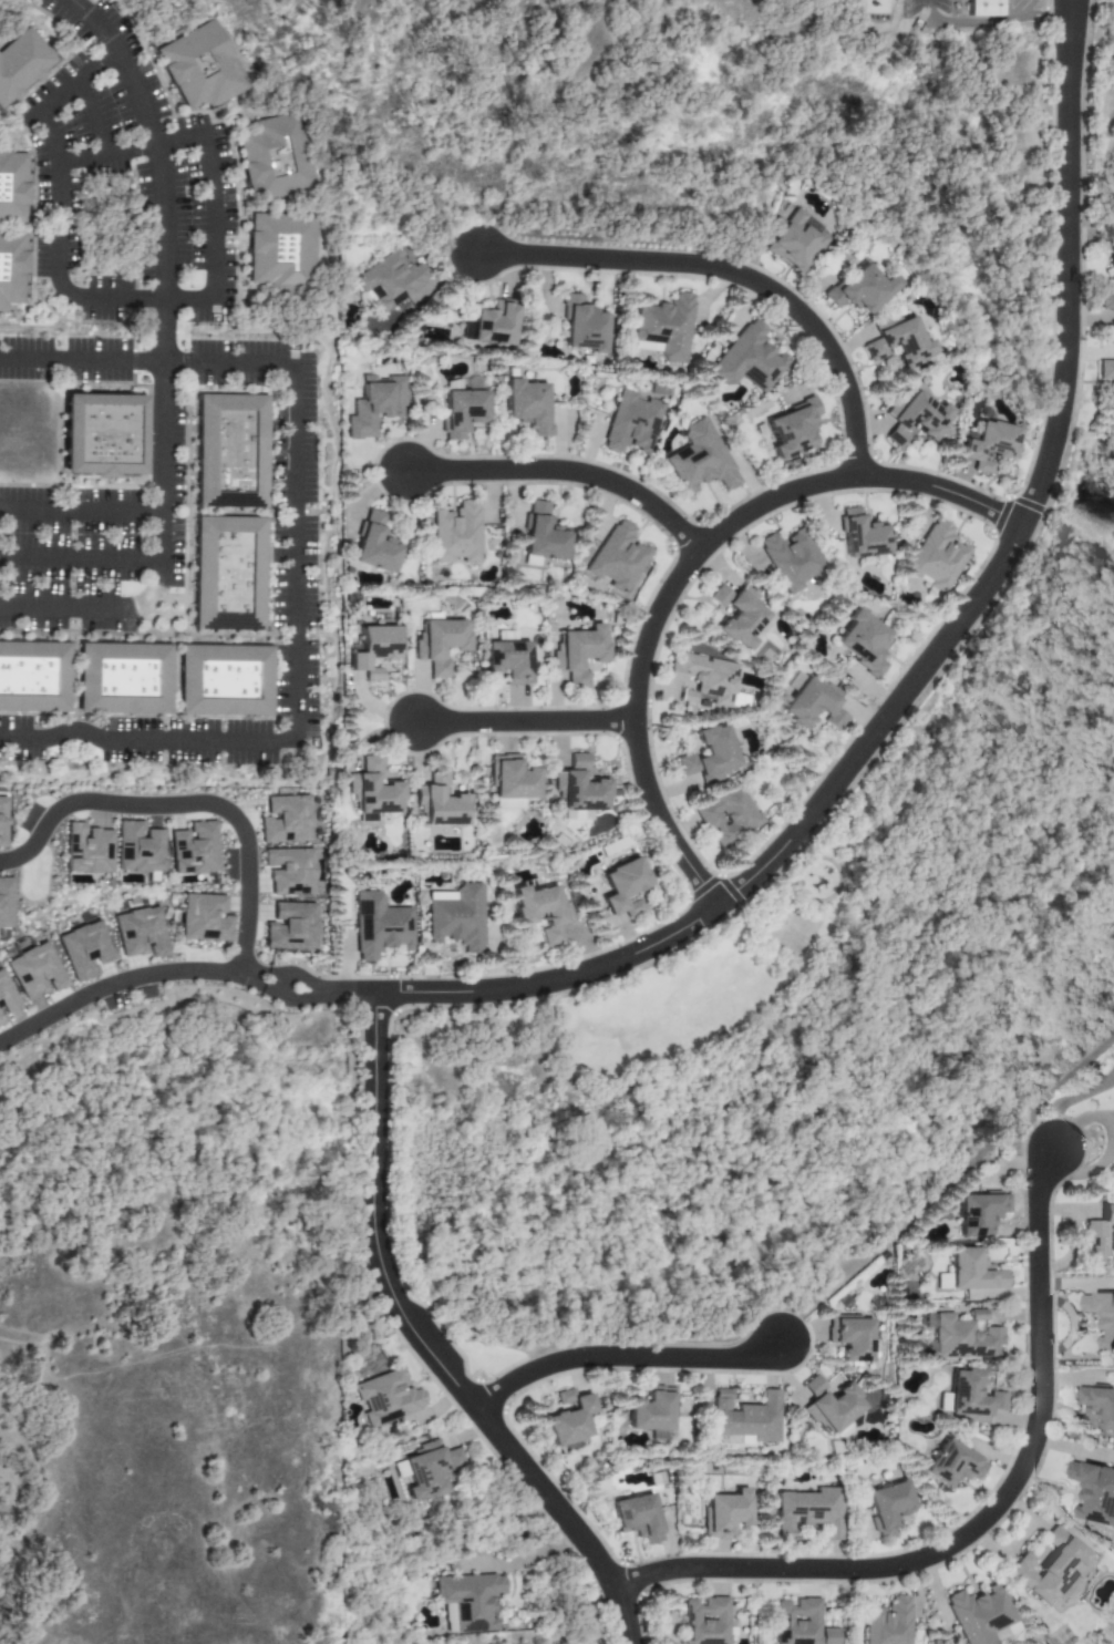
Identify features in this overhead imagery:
road: (1066, 4)
road: (1069, 4)
building: (982, 8)
road: (55, 20)
road: (988, 22)
building: (21, 64)
building: (200, 66)
road: (55, 99)
road: (7, 114)
road: (92, 117)
road: (131, 150)
building: (274, 157)
parking lot: (82, 162)
building: (11, 186)
road: (1051, 203)
building: (794, 240)
building: (281, 251)
building: (1111, 261)
road: (28, 263)
building: (11, 267)
road: (729, 271)
building: (389, 280)
building: (860, 289)
road: (156, 298)
building: (1107, 298)
building: (495, 323)
building: (582, 326)
road: (31, 327)
building: (663, 327)
road: (174, 332)
building: (899, 343)
road: (133, 357)
building: (747, 359)
road: (163, 363)
building: (1106, 370)
building: (374, 405)
building: (526, 405)
building: (462, 412)
building: (915, 418)
building: (631, 423)
building: (792, 429)
building: (102, 434)
building: (989, 445)
building: (230, 450)
road: (375, 459)
building: (700, 460)
road: (147, 464)
road: (561, 471)
road: (557, 497)
road: (510, 499)
road: (80, 511)
road: (186, 520)
building: (455, 534)
building: (543, 534)
building: (862, 535)
building: (374, 544)
road: (296, 549)
building: (937, 556)
building: (617, 557)
road: (80, 558)
building: (791, 559)
road: (684, 567)
building: (228, 573)
road: (166, 602)
road: (156, 615)
building: (741, 616)
road: (167, 635)
building: (864, 643)
building: (440, 644)
building: (373, 649)
building: (578, 654)
road: (926, 657)
building: (509, 661)
road: (334, 671)
road: (175, 675)
building: (33, 676)
building: (123, 678)
road: (174, 679)
building: (704, 679)
building: (225, 680)
building: (813, 703)
road: (520, 722)
parking lot: (21, 739)
parking lot: (188, 741)
building: (709, 754)
building: (512, 783)
building: (579, 790)
building: (371, 792)
building: (440, 801)
road: (190, 806)
building: (726, 815)
building: (286, 820)
building: (2, 822)
building: (137, 849)
building: (194, 849)
building: (86, 850)
building: (289, 871)
building: (623, 887)
building: (4, 903)
building: (541, 910)
building: (456, 917)
building: (204, 918)
building: (379, 926)
building: (290, 927)
park: (793, 929)
building: (140, 933)
building: (84, 949)
building: (35, 972)
park: (704, 975)
road: (260, 983)
road: (115, 988)
road: (327, 993)
building: (6, 998)
road: (1110, 1076)
road: (1110, 1081)
road: (1059, 1103)
road: (956, 1175)
building: (979, 1213)
building: (1102, 1233)
building: (972, 1271)
building: (1102, 1316)
building: (960, 1336)
building: (850, 1337)
road: (424, 1348)
road: (622, 1356)
building: (386, 1397)
building: (970, 1397)
building: (1100, 1404)
building: (831, 1405)
building: (651, 1409)
building: (569, 1418)
building: (745, 1418)
road: (929, 1446)
road: (999, 1456)
building: (952, 1465)
building: (430, 1470)
road: (976, 1491)
building: (1094, 1492)
building: (888, 1507)
building: (809, 1512)
building: (725, 1513)
building: (638, 1518)
road: (983, 1519)
road: (231, 1543)
building: (1050, 1569)
building: (467, 1601)
building: (982, 1616)
building: (705, 1621)
building: (887, 1622)
building: (801, 1624)

